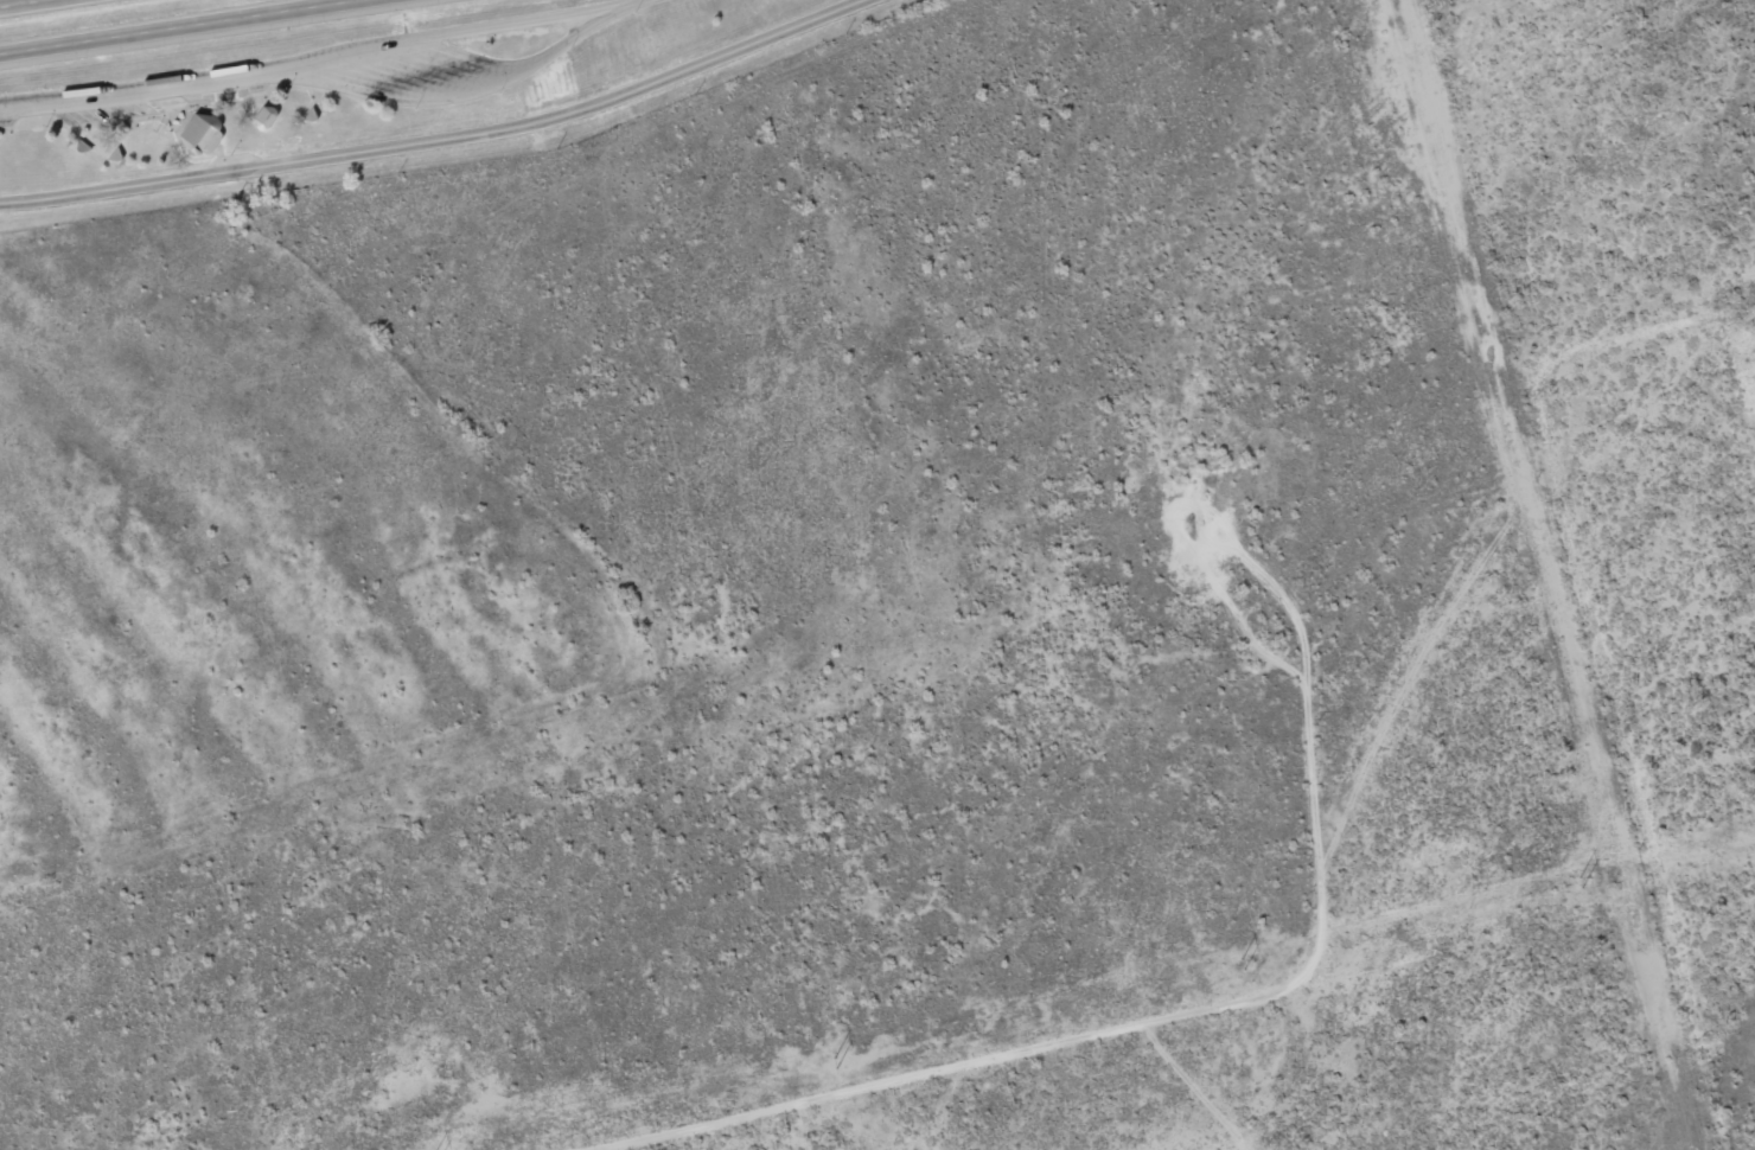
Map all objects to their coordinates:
road: (18, 2)
road: (174, 26)
road: (315, 57)
road: (441, 97)
building: (269, 117)
road: (434, 135)
power tower: (1591, 881)
power tower: (1249, 969)
power tower: (828, 1065)

